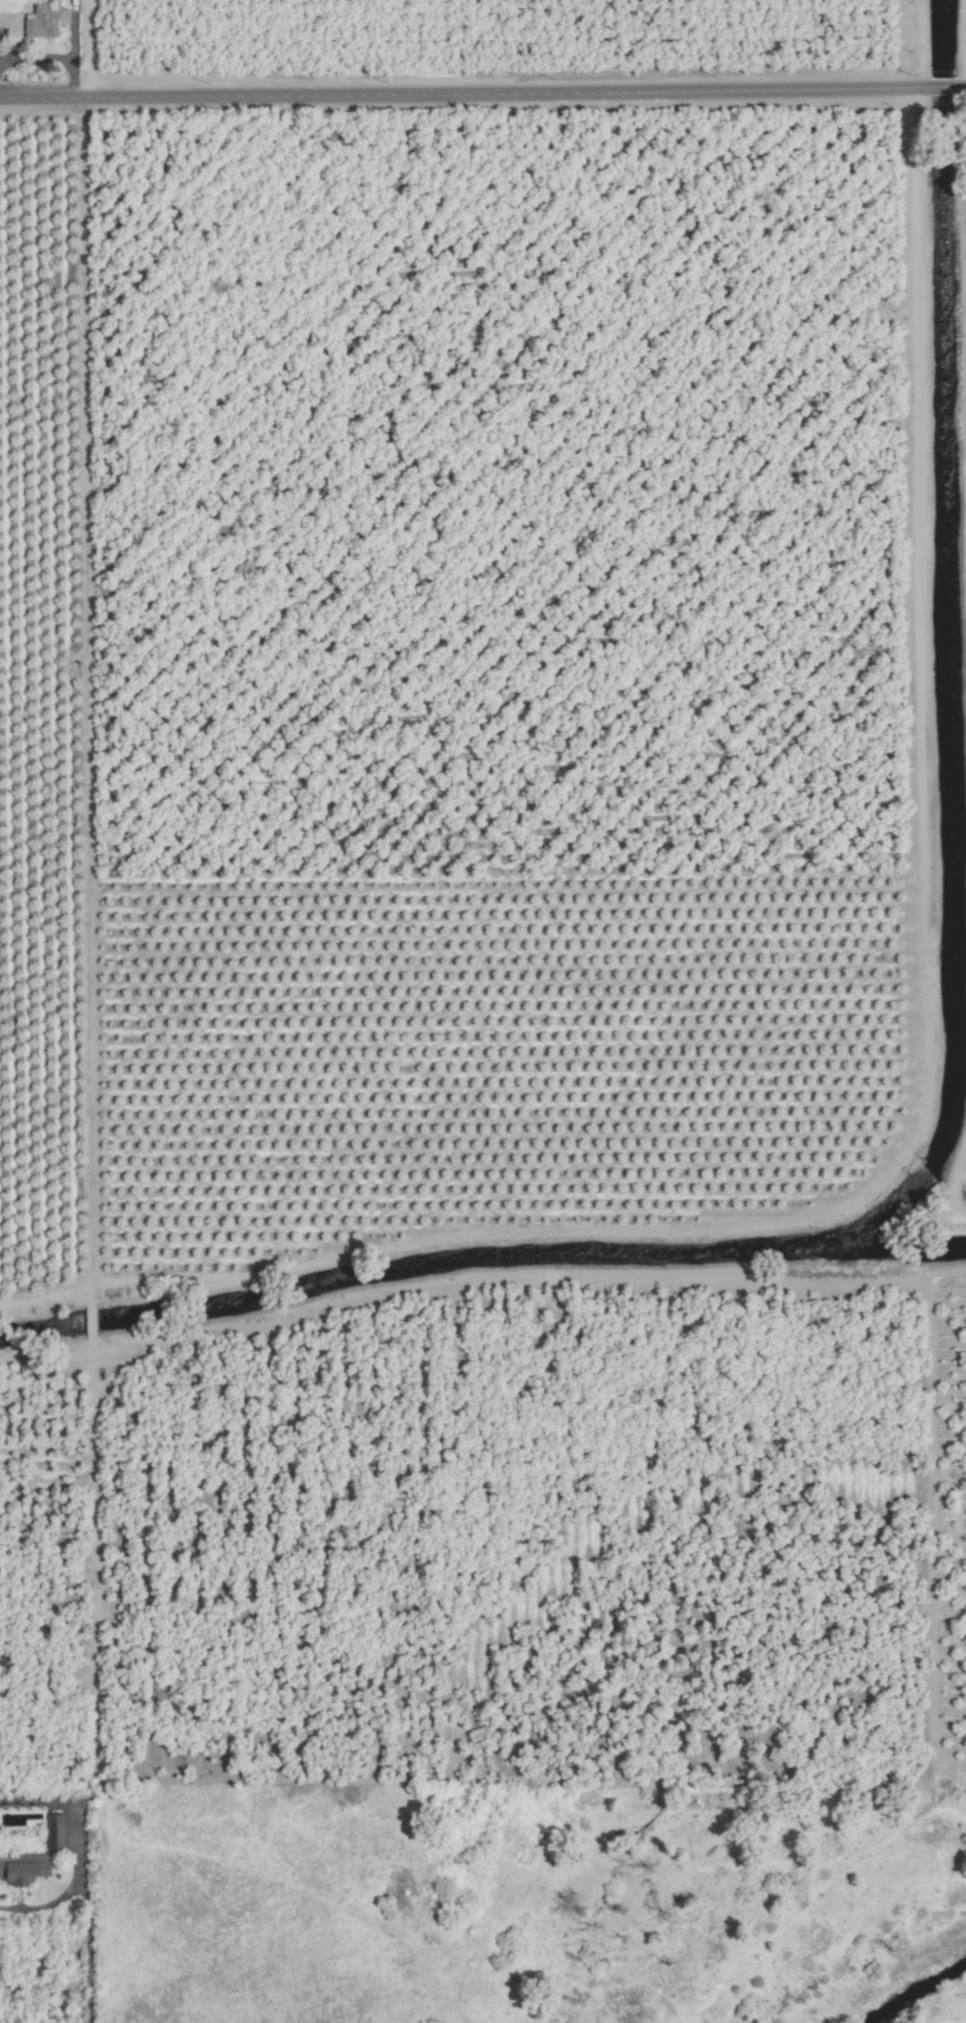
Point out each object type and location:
building: (40, 21)
road: (918, 43)
road: (93, 48)
road: (960, 86)
road: (943, 87)
road: (466, 92)
road: (91, 736)
crop: (480, 919)
building: (53, 1832)
building: (22, 1868)
road: (88, 1925)
crop: (512, 1925)

